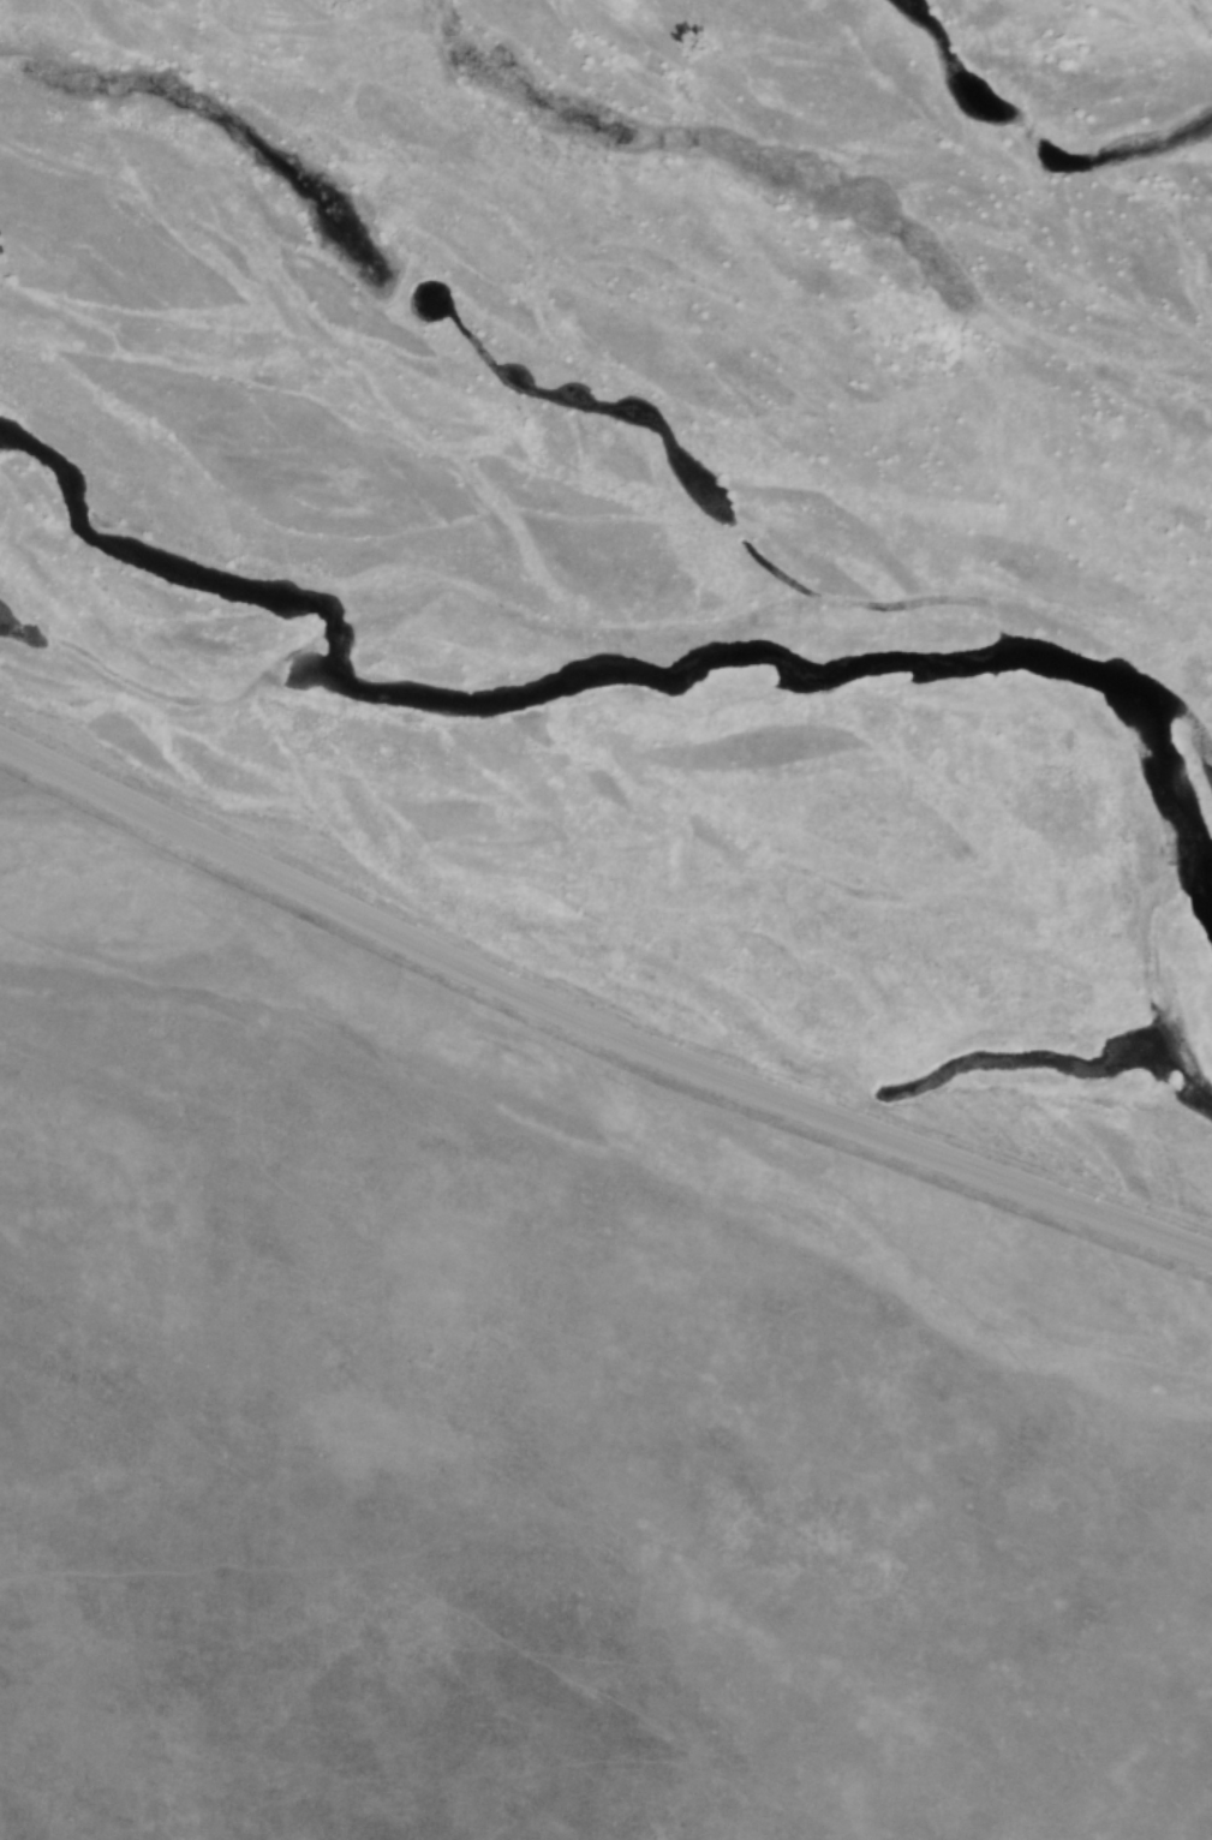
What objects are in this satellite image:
road: (593, 1035)

